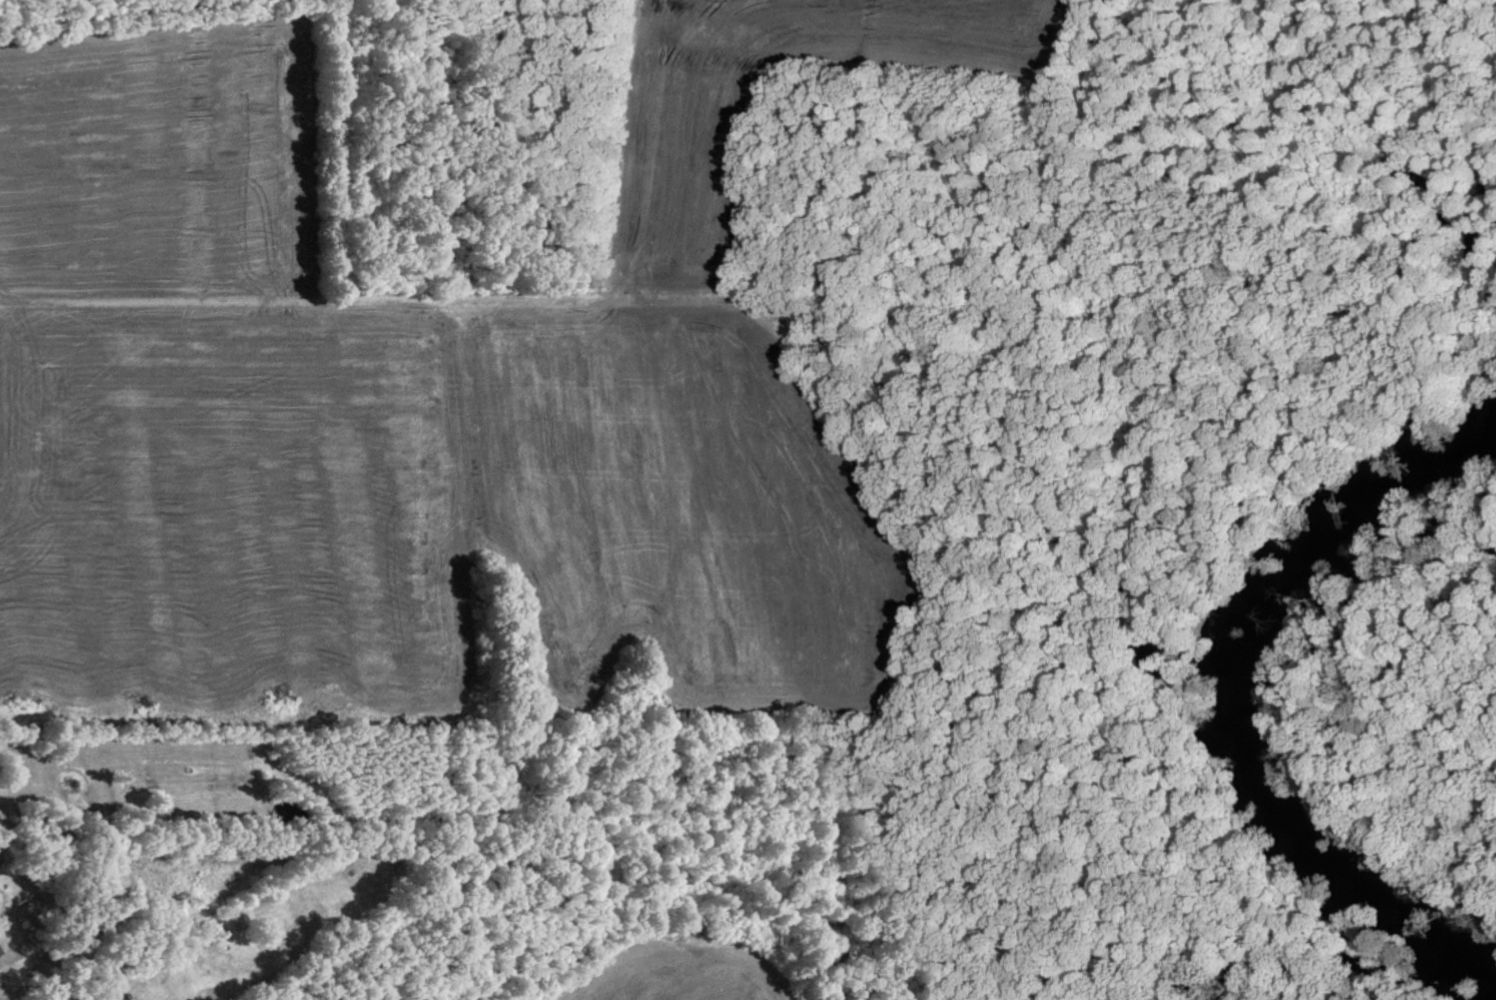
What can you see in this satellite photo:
river: (1248, 697)

